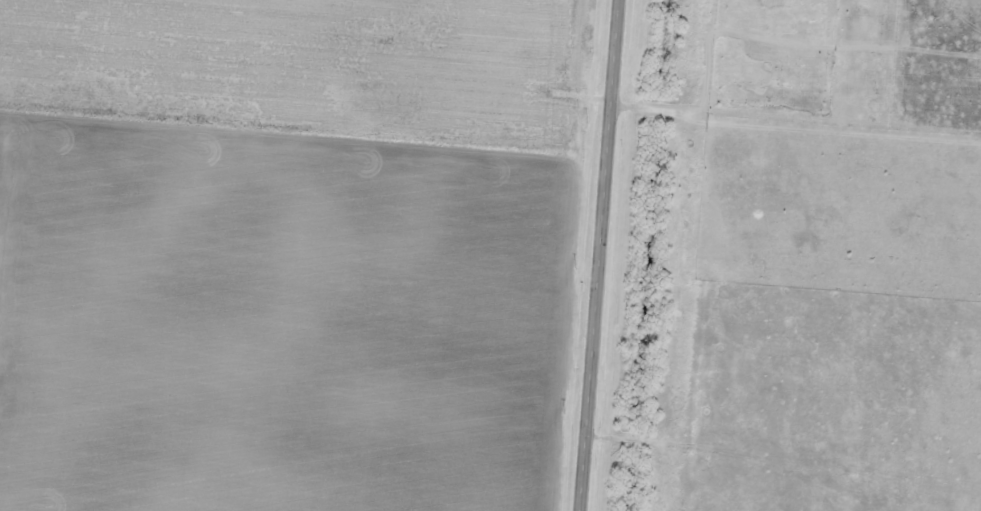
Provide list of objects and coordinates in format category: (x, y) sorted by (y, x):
road: (598, 255)

